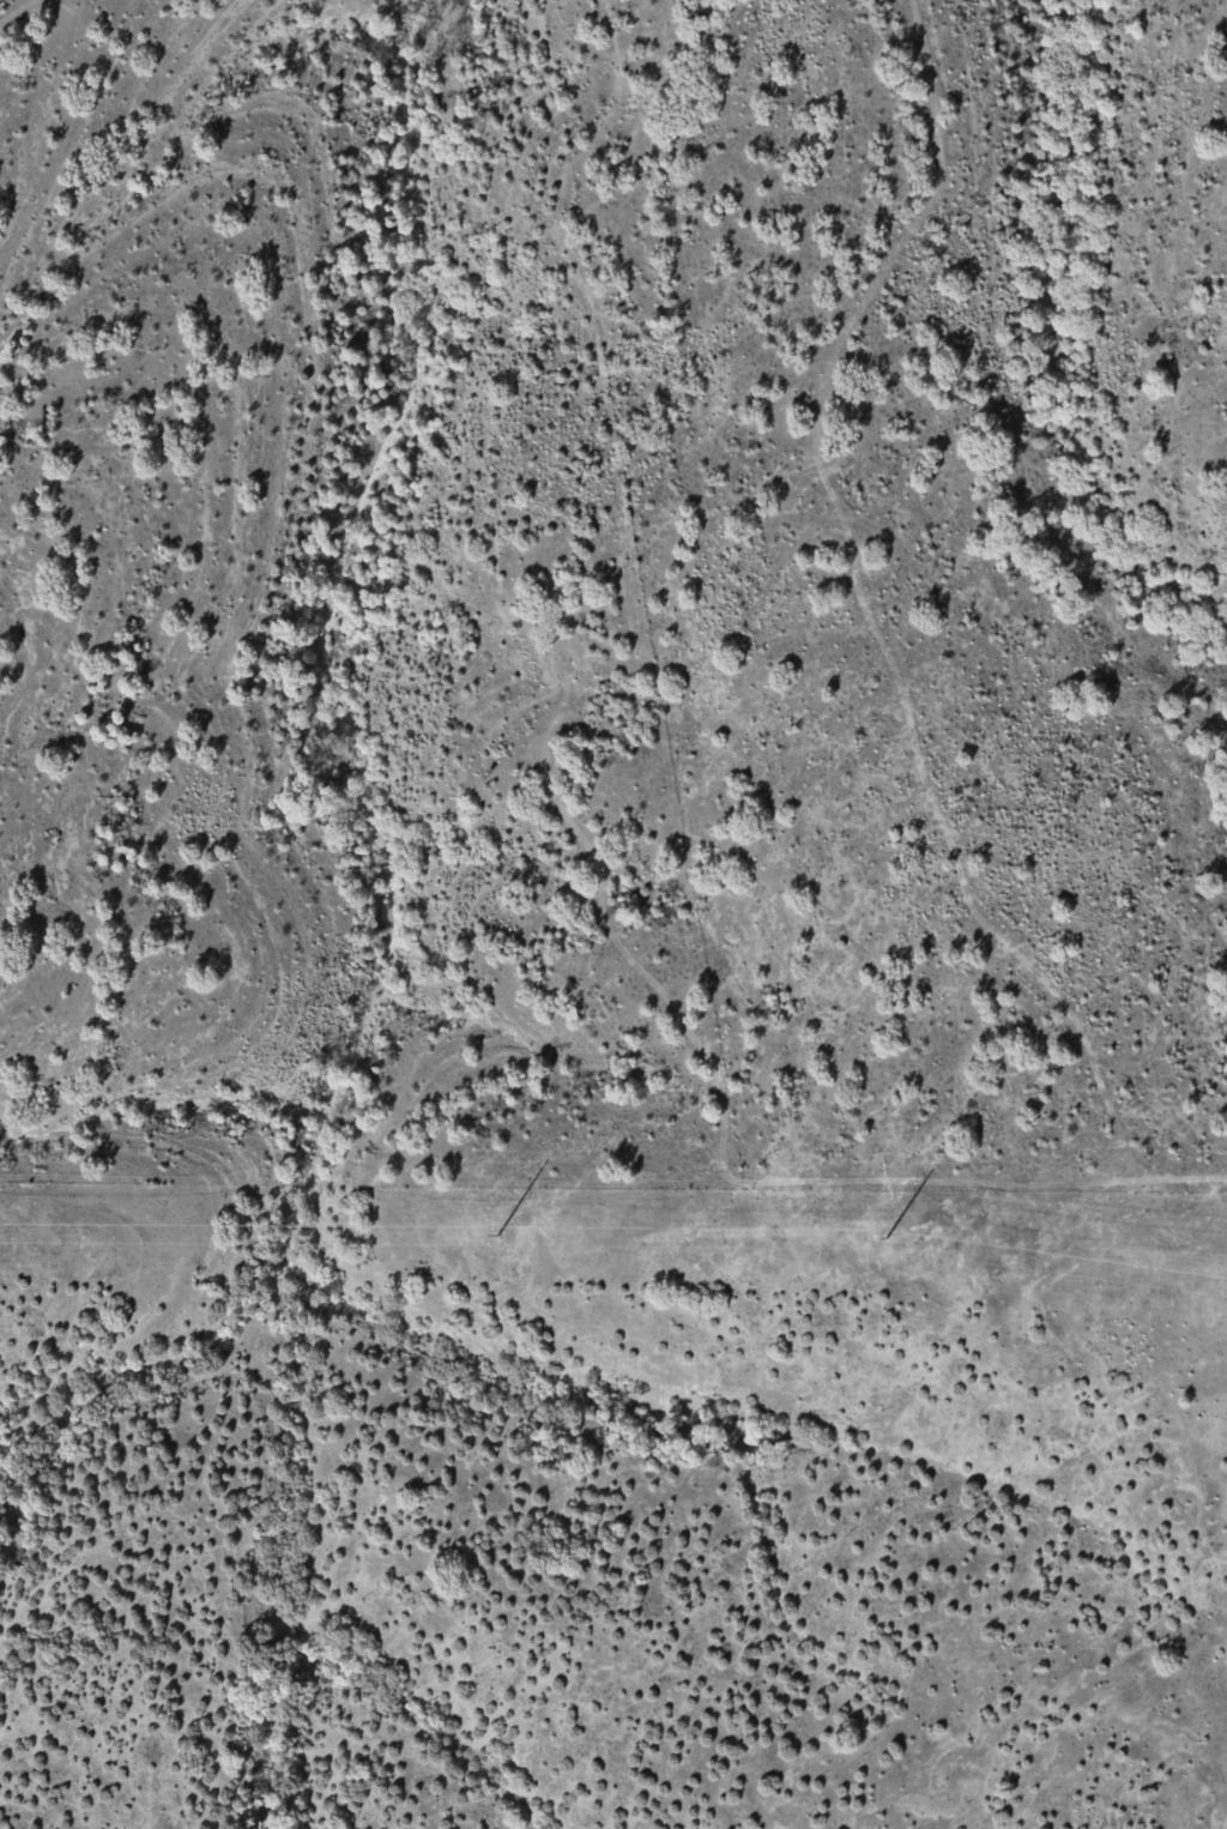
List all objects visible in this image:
power tower: (480, 1236)
power tower: (874, 1238)

